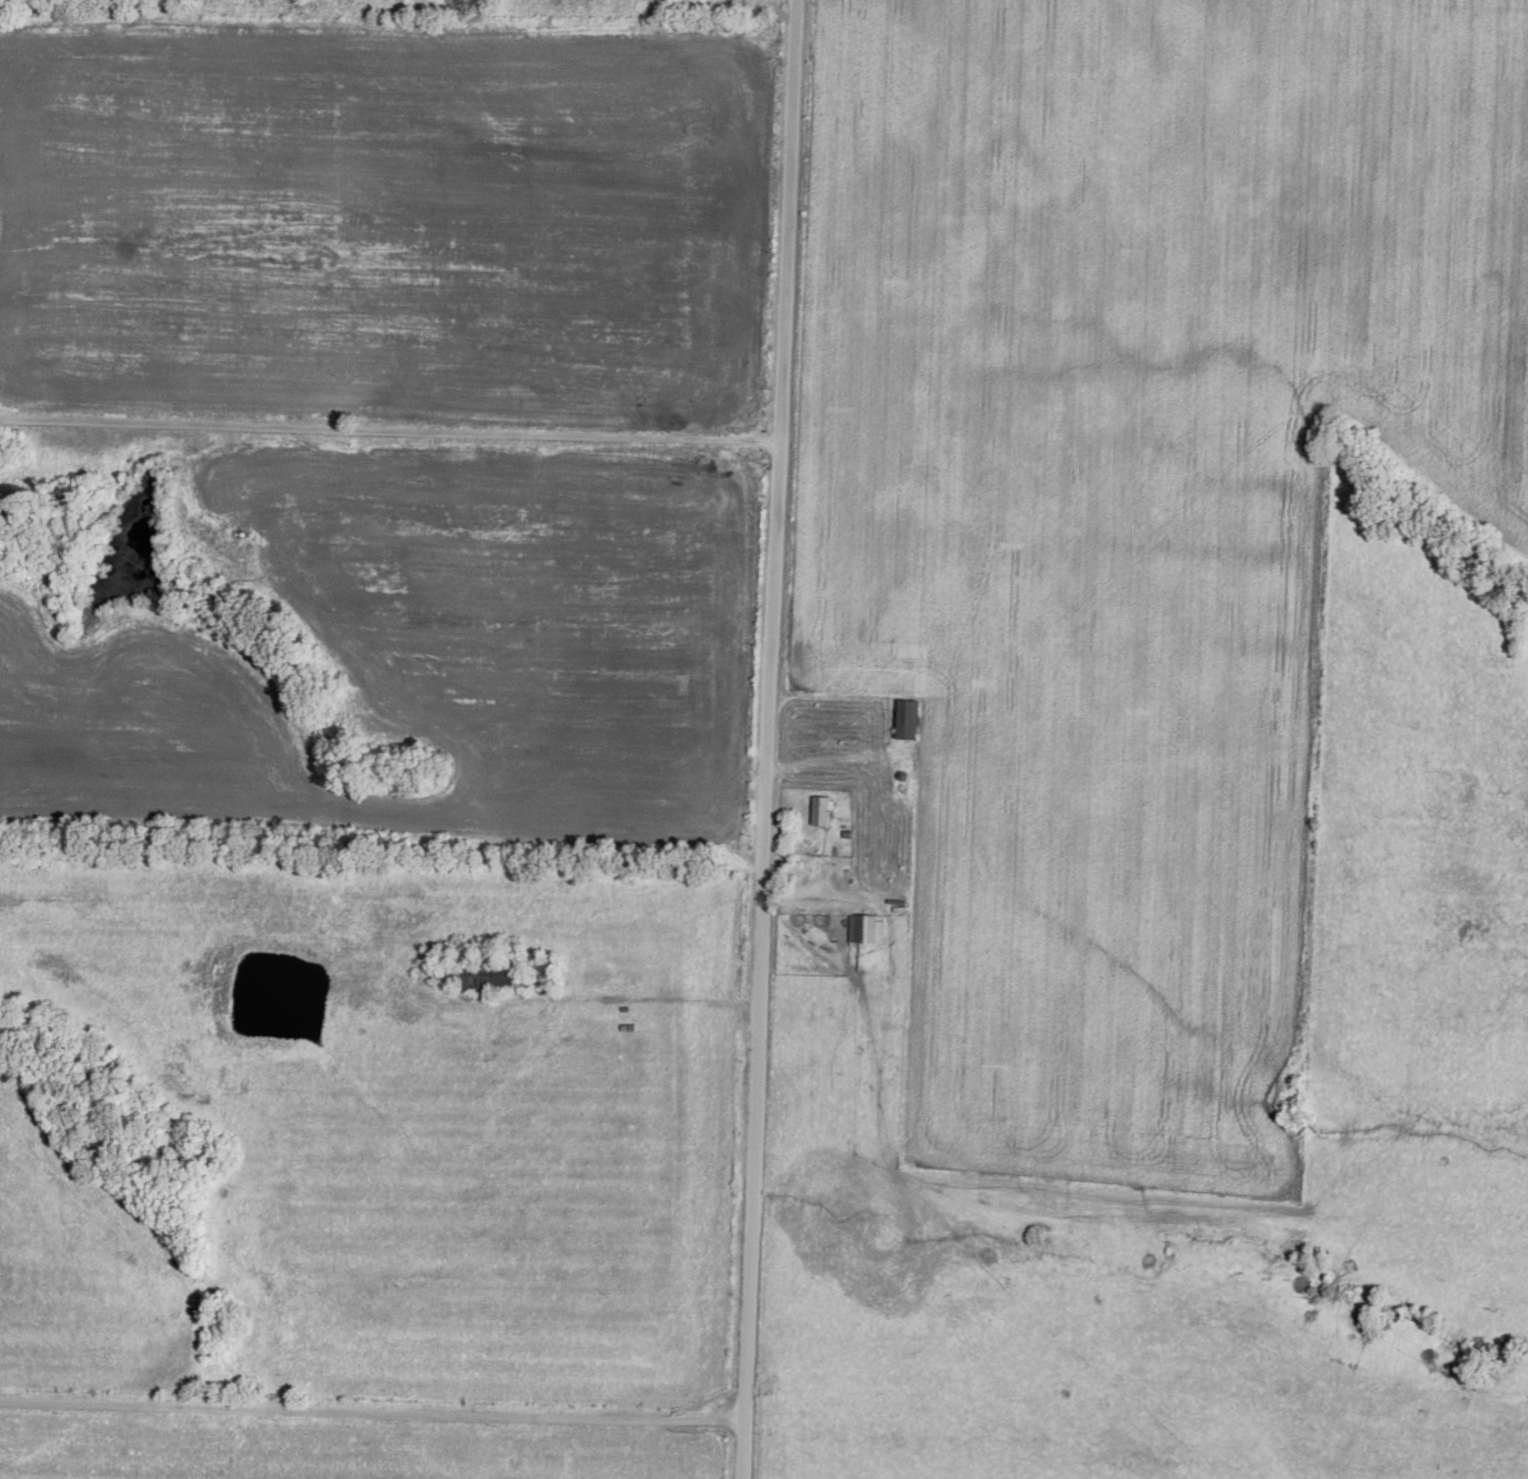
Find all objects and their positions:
road: (390, 430)
building: (904, 719)
road: (768, 739)
building: (846, 752)
building: (820, 810)
building: (845, 877)
building: (884, 877)
road: (815, 891)
building: (864, 928)
building: (486, 975)
road: (583, 999)
road: (371, 1412)

